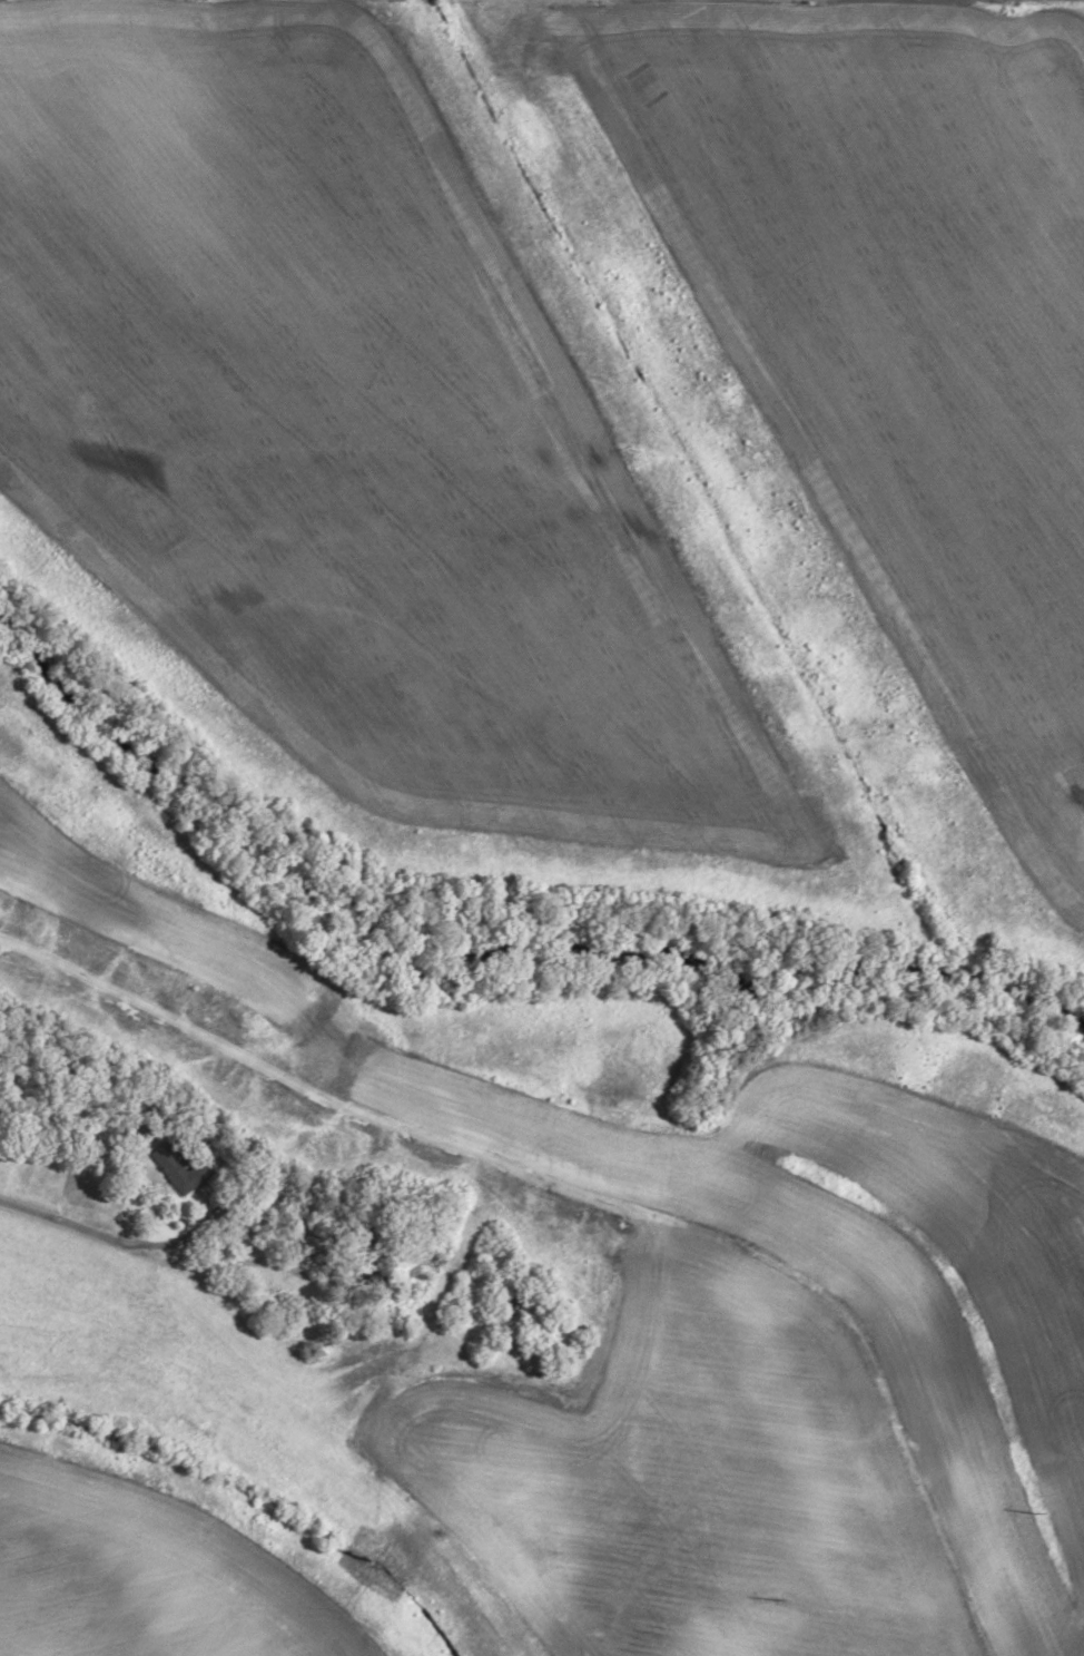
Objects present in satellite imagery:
building: (194, 1170)

